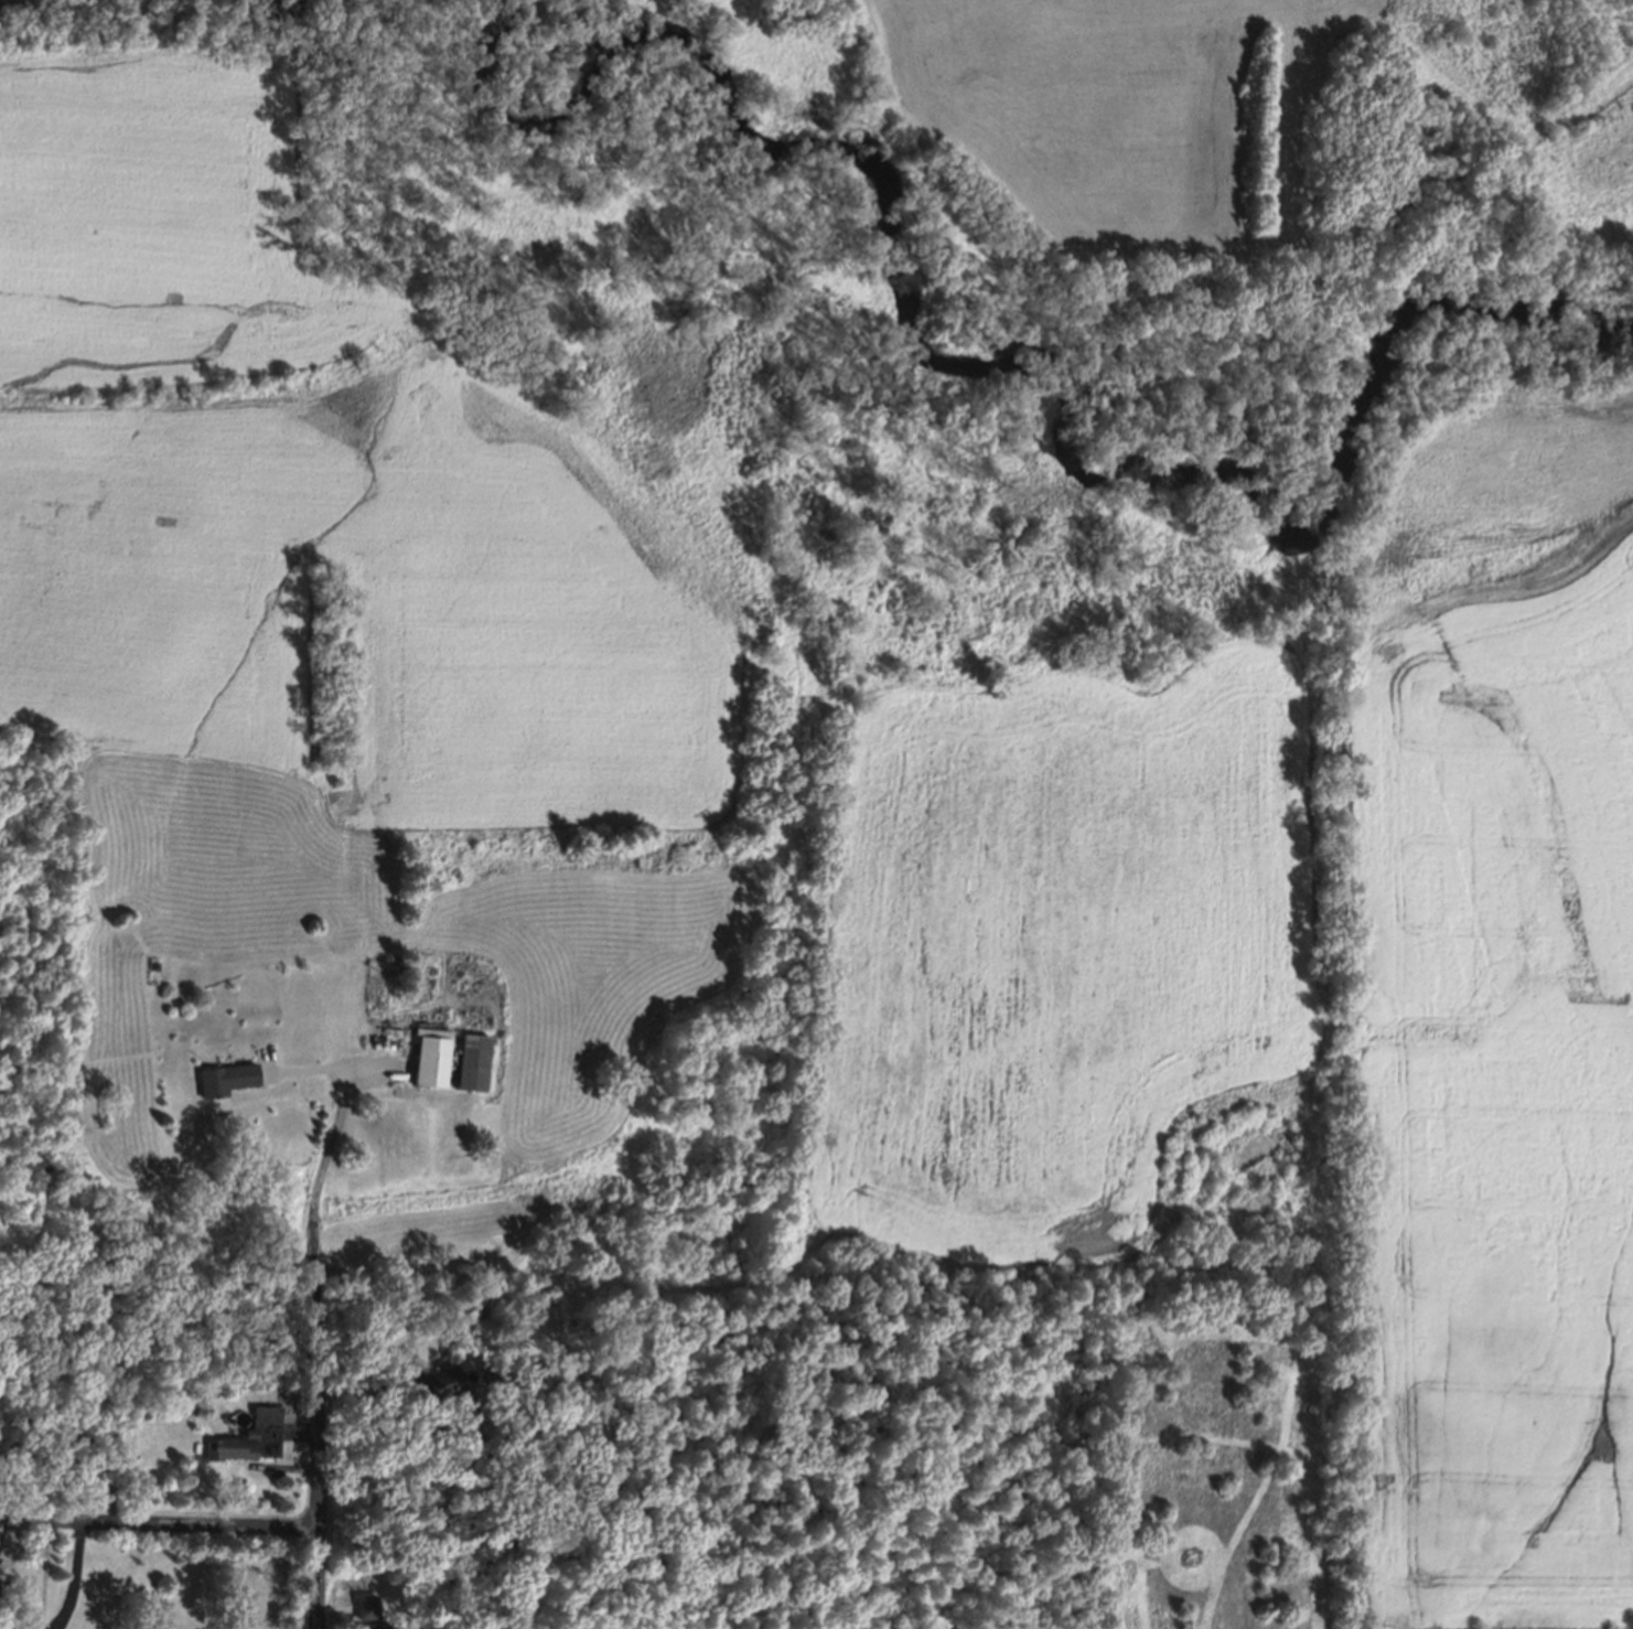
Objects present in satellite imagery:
river: (1029, 363)
building: (422, 1059)
building: (466, 1060)
building: (225, 1080)
building: (211, 1180)
road: (312, 1347)
building: (431, 1383)
building: (182, 1407)
building: (370, 1414)
building: (264, 1428)
building: (64, 1438)
road: (158, 1518)
road: (76, 1574)
building: (361, 1607)
building: (369, 1626)

